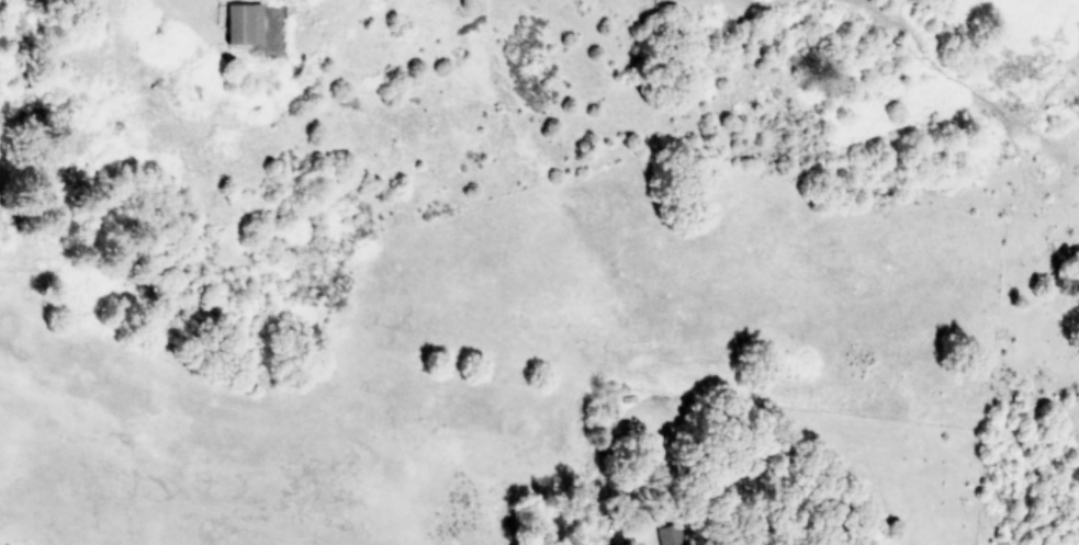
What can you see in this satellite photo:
road: (186, 20)
building: (243, 23)
building: (668, 535)

